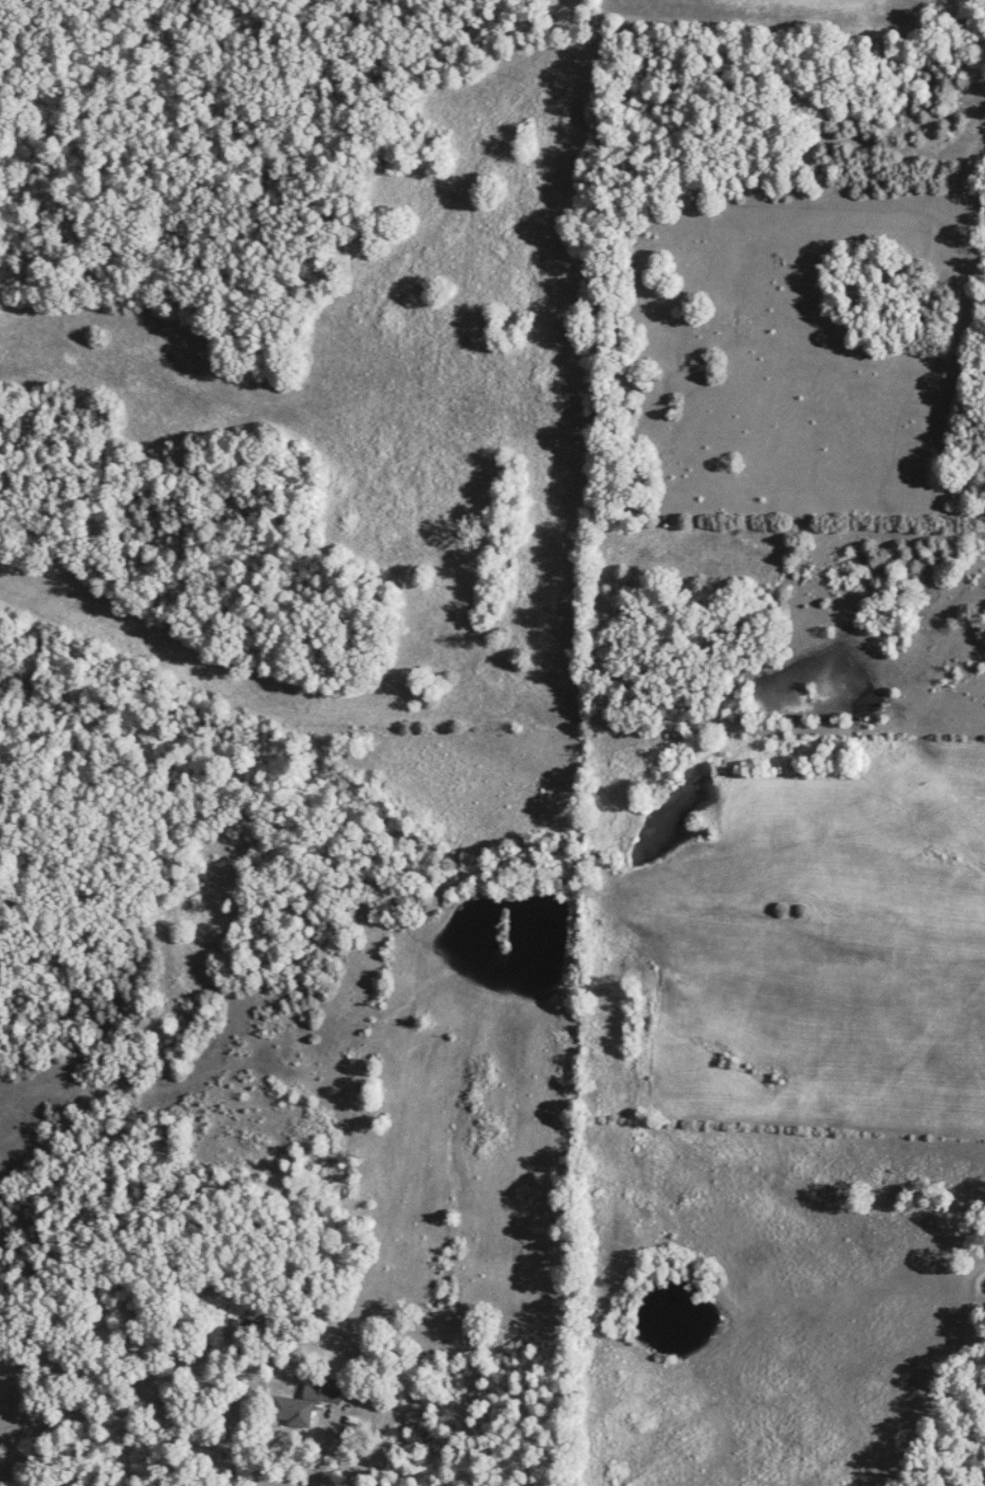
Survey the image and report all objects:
building: (237, 1326)
building: (306, 1400)
road: (322, 1453)

